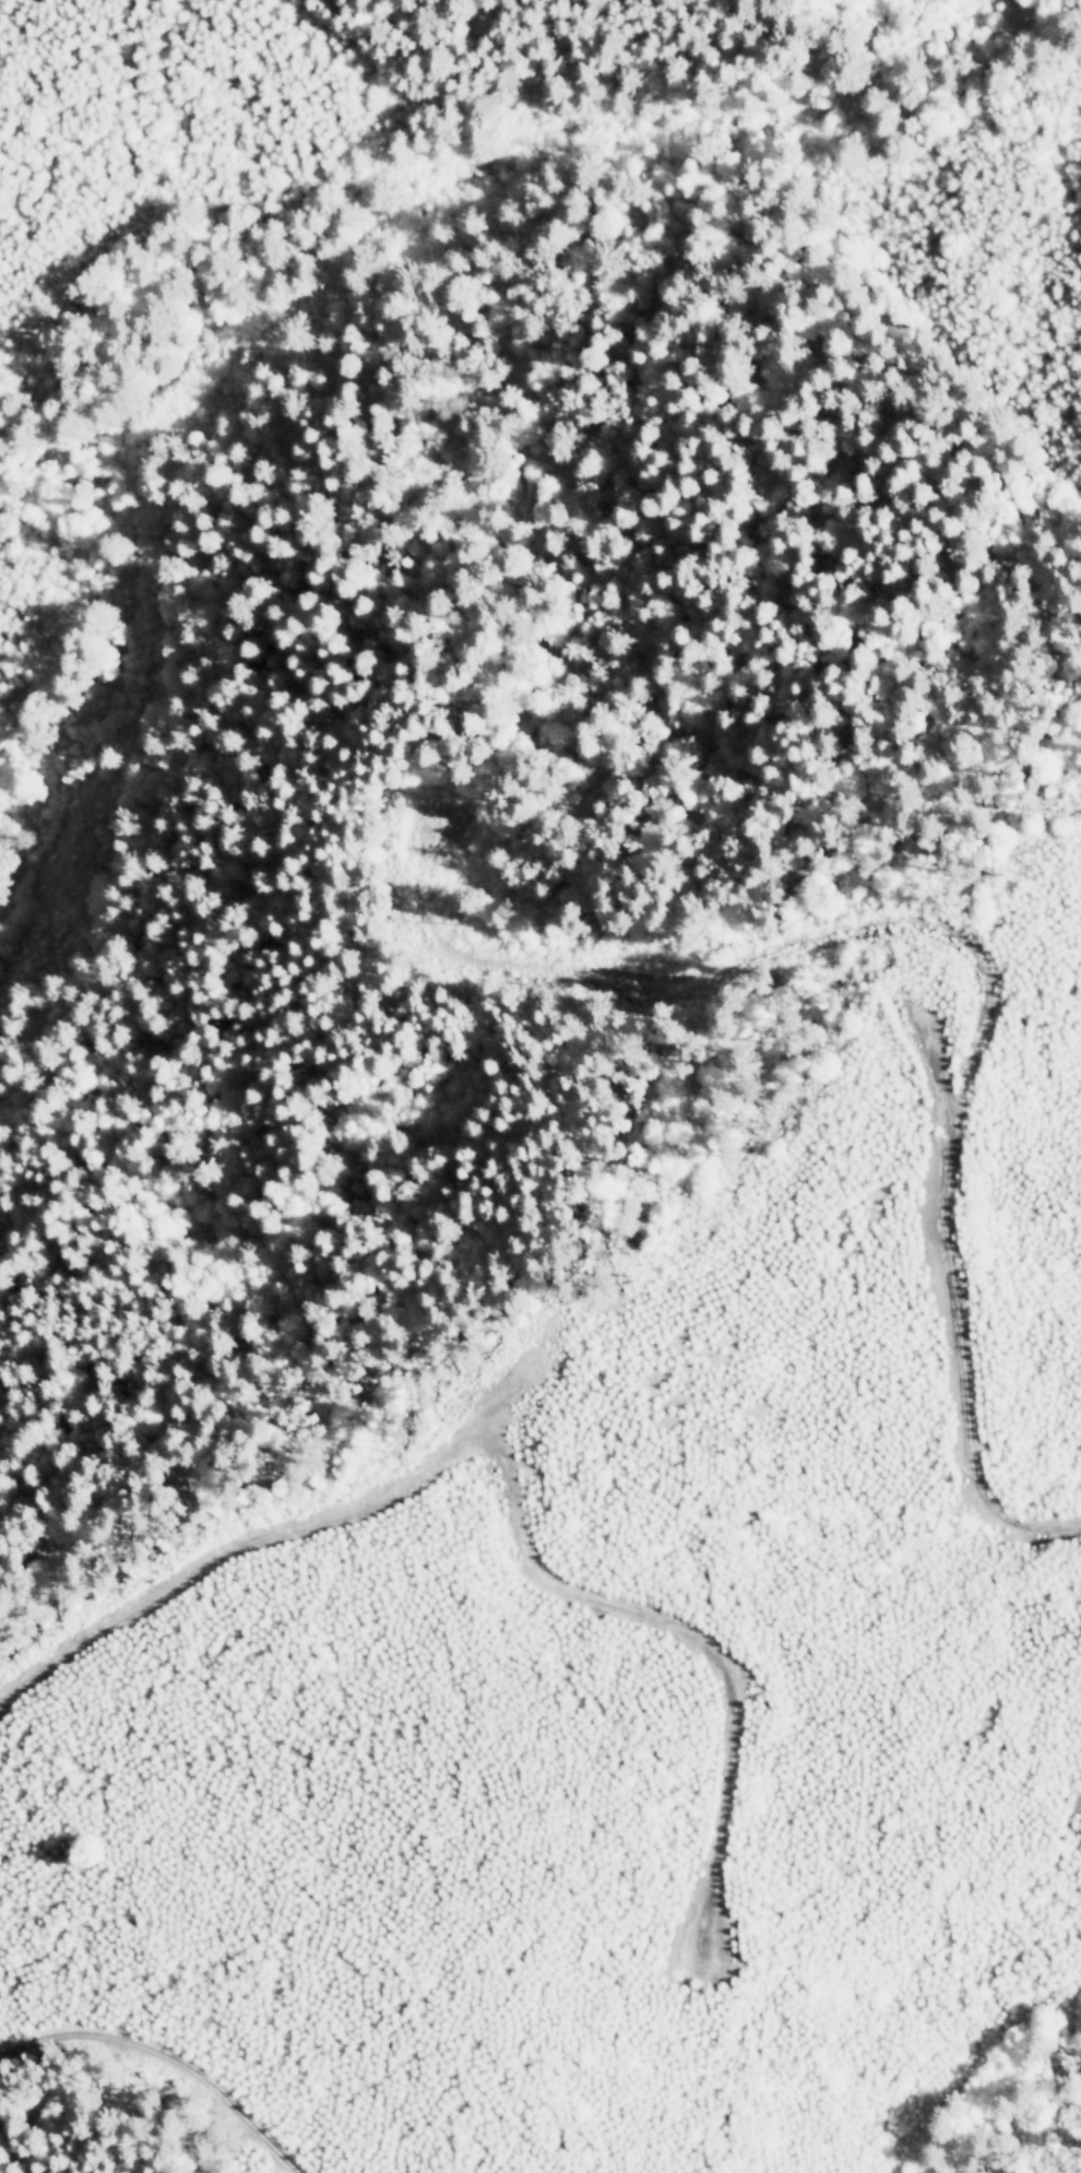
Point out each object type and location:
road: (958, 936)
road: (1076, 1797)
road: (165, 2053)

